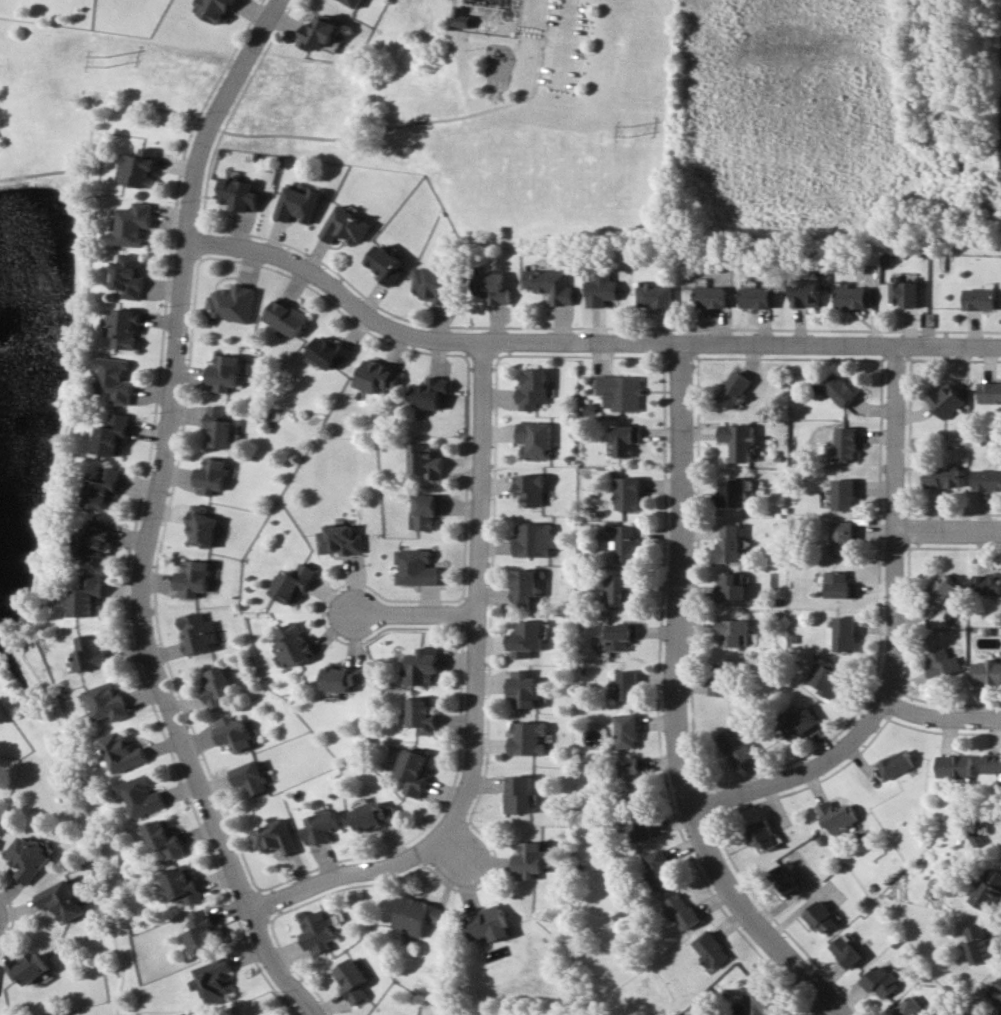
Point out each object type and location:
building: (351, 2)
building: (215, 9)
building: (463, 18)
building: (320, 32)
road: (564, 41)
parking lot: (566, 44)
power tower: (107, 61)
park: (487, 106)
power tower: (633, 132)
building: (144, 168)
road: (45, 174)
building: (241, 194)
building: (299, 204)
building: (136, 224)
building: (347, 226)
building: (387, 264)
building: (132, 275)
building: (437, 284)
building: (553, 285)
building: (495, 289)
building: (604, 290)
building: (807, 293)
building: (904, 293)
building: (657, 296)
building: (713, 296)
building: (758, 297)
building: (852, 298)
building: (981, 299)
road: (82, 301)
building: (235, 303)
building: (288, 315)
road: (379, 321)
road: (542, 326)
building: (127, 328)
road: (793, 341)
building: (330, 352)
building: (225, 373)
building: (377, 377)
building: (117, 379)
building: (533, 389)
building: (737, 389)
building: (840, 389)
building: (621, 392)
building: (990, 392)
building: (431, 394)
building: (948, 400)
building: (219, 428)
building: (115, 435)
building: (534, 440)
building: (626, 440)
building: (739, 441)
building: (847, 443)
building: (428, 460)
building: (211, 476)
building: (944, 477)
building: (988, 480)
building: (106, 488)
building: (531, 489)
building: (734, 492)
building: (630, 493)
building: (845, 494)
building: (428, 510)
road: (152, 518)
building: (202, 526)
road: (946, 528)
building: (845, 538)
building: (97, 539)
building: (536, 539)
building: (343, 540)
building: (628, 543)
building: (731, 543)
building: (419, 568)
building: (193, 578)
building: (296, 582)
building: (987, 583)
building: (528, 585)
building: (841, 585)
building: (734, 586)
building: (621, 588)
building: (942, 589)
road: (480, 595)
building: (89, 596)
road: (418, 613)
road: (890, 628)
building: (734, 631)
building: (197, 632)
building: (843, 634)
building: (622, 636)
building: (530, 638)
building: (294, 645)
building: (92, 652)
building: (941, 664)
building: (426, 666)
building: (986, 671)
building: (828, 676)
building: (345, 677)
building: (631, 685)
building: (723, 686)
building: (215, 687)
building: (528, 689)
building: (108, 701)
road: (678, 706)
road: (938, 713)
building: (426, 715)
building: (799, 722)
building: (630, 731)
building: (233, 733)
building: (532, 738)
building: (738, 745)
building: (124, 752)
building: (993, 763)
building: (896, 764)
building: (955, 766)
building: (420, 771)
building: (635, 775)
building: (253, 777)
building: (524, 794)
building: (143, 795)
building: (377, 816)
building: (837, 817)
building: (323, 827)
building: (644, 827)
building: (763, 836)
building: (167, 837)
building: (276, 837)
building: (979, 839)
road: (465, 857)
building: (28, 858)
building: (534, 860)
building: (664, 868)
road: (351, 873)
building: (787, 878)
building: (185, 884)
building: (990, 890)
building: (62, 901)
building: (685, 911)
building: (421, 915)
building: (821, 917)
building: (493, 924)
building: (322, 930)
building: (205, 931)
building: (981, 942)
building: (715, 949)
building: (848, 951)
building: (28, 968)
building: (214, 980)
building: (353, 980)
building: (882, 982)
building: (998, 990)
building: (760, 996)
road: (822, 1006)
building: (913, 1008)

